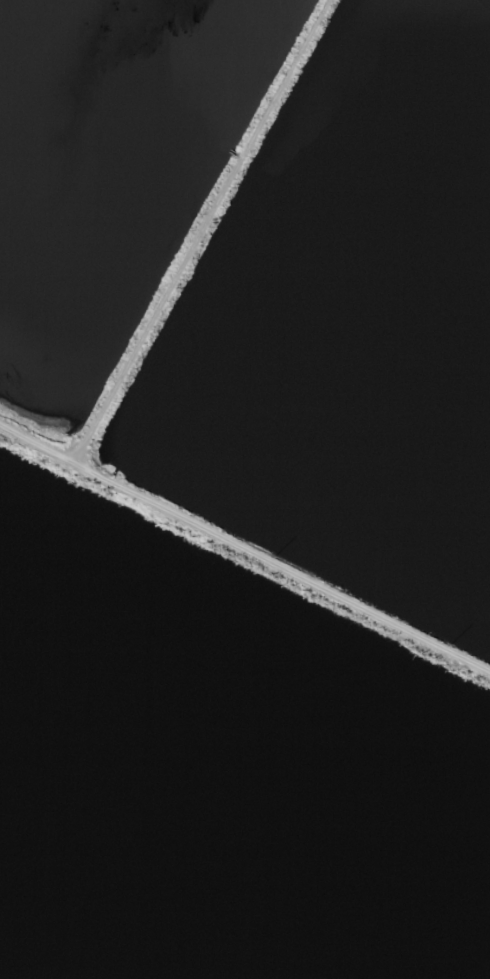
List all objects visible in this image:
road: (200, 231)
wastewater plant: (245, 489)
road: (244, 546)

